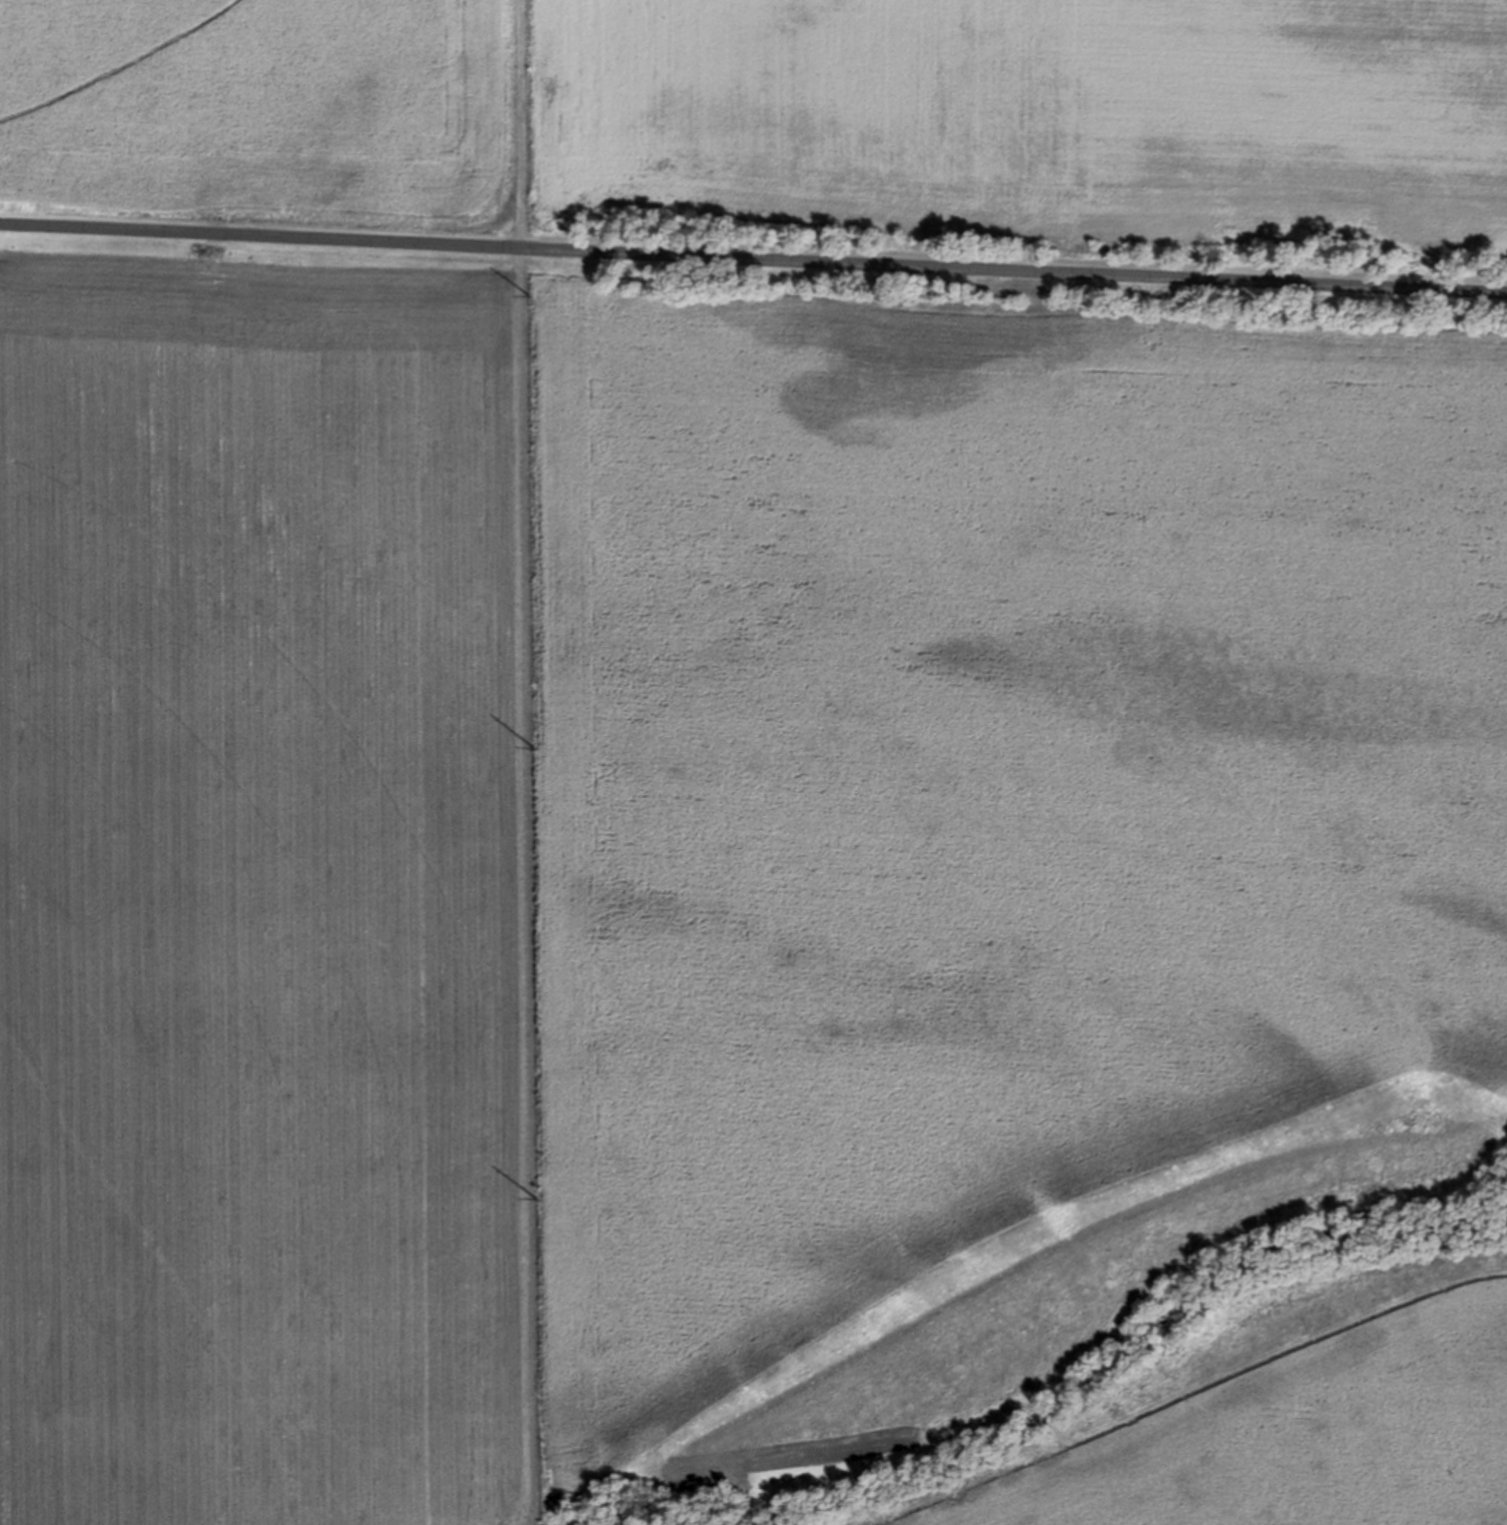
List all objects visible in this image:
road: (753, 256)
power tower: (527, 293)
power tower: (530, 746)
power tower: (534, 1196)

